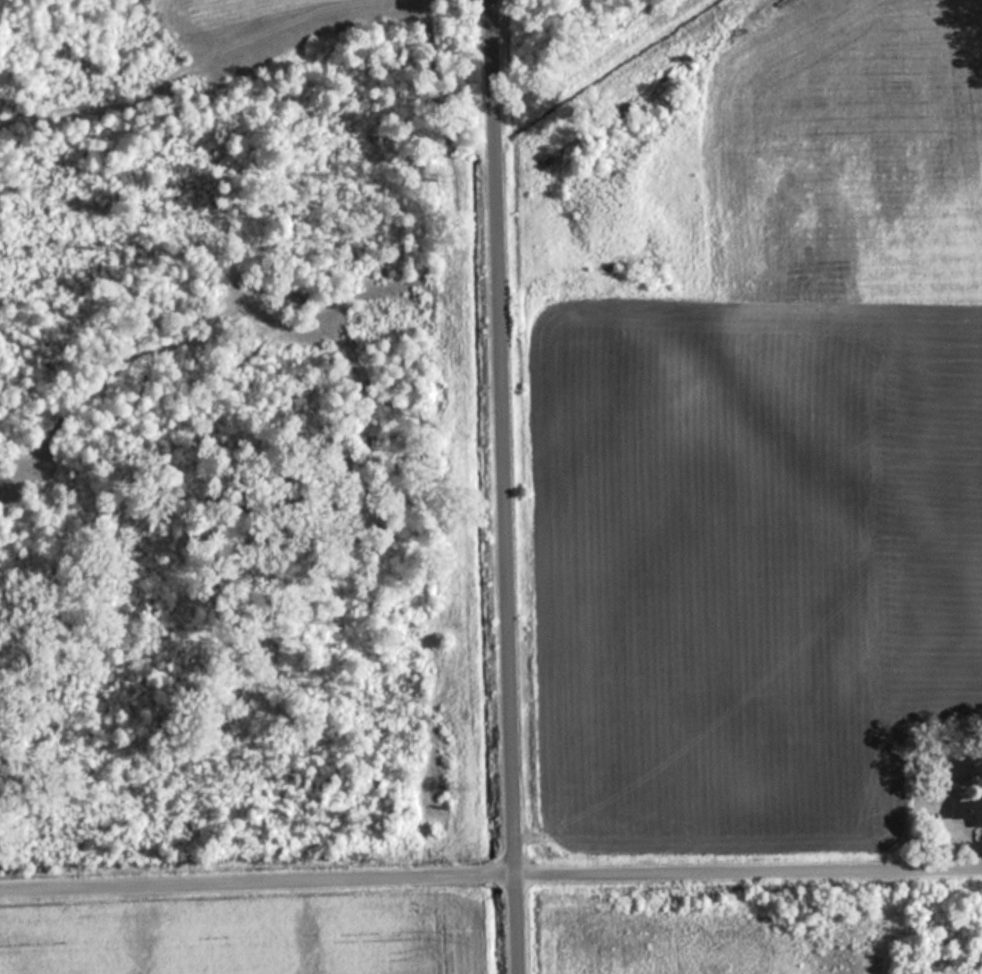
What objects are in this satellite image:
road: (508, 487)
building: (966, 812)
road: (490, 879)

